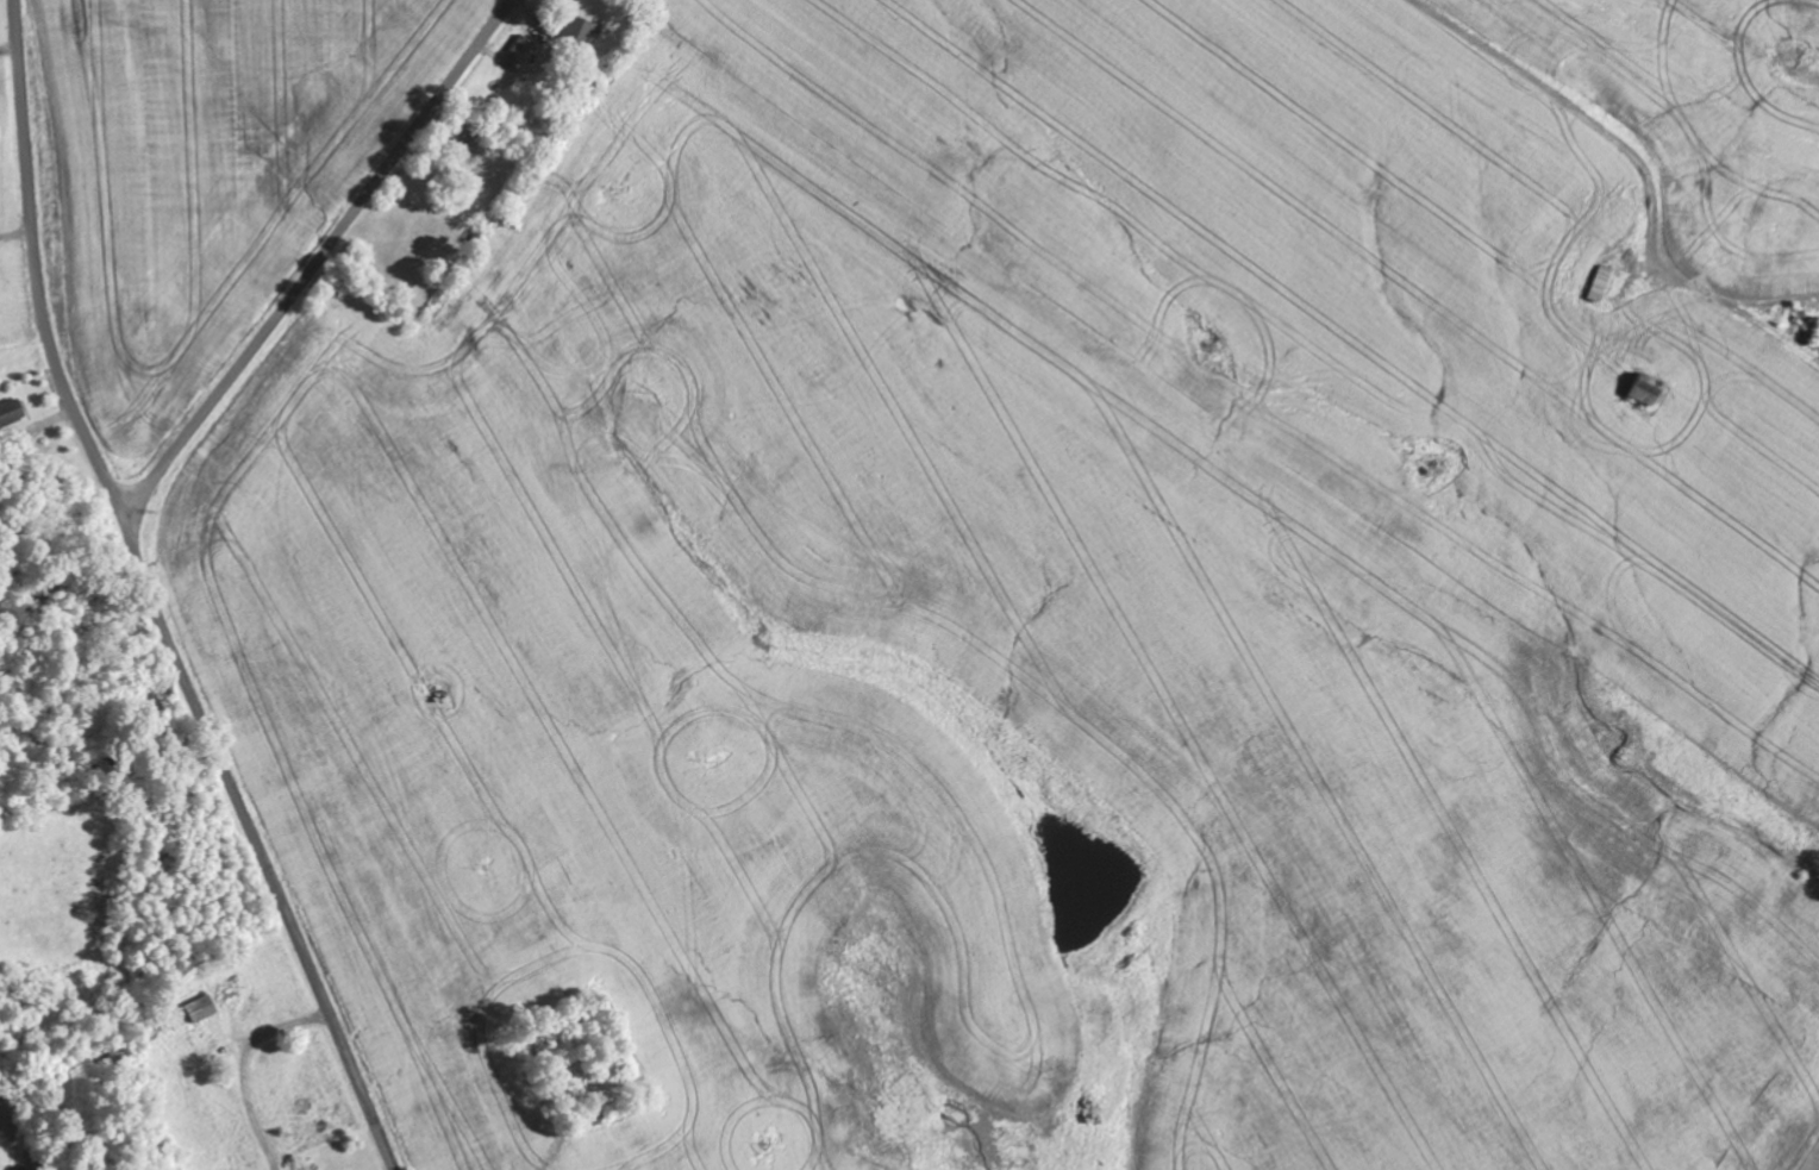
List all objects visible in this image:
building: (577, 31)
building: (517, 51)
road: (1617, 140)
road: (319, 256)
building: (1598, 286)
building: (1642, 392)
building: (11, 421)
road: (156, 597)
building: (199, 1011)
park: (583, 1055)

